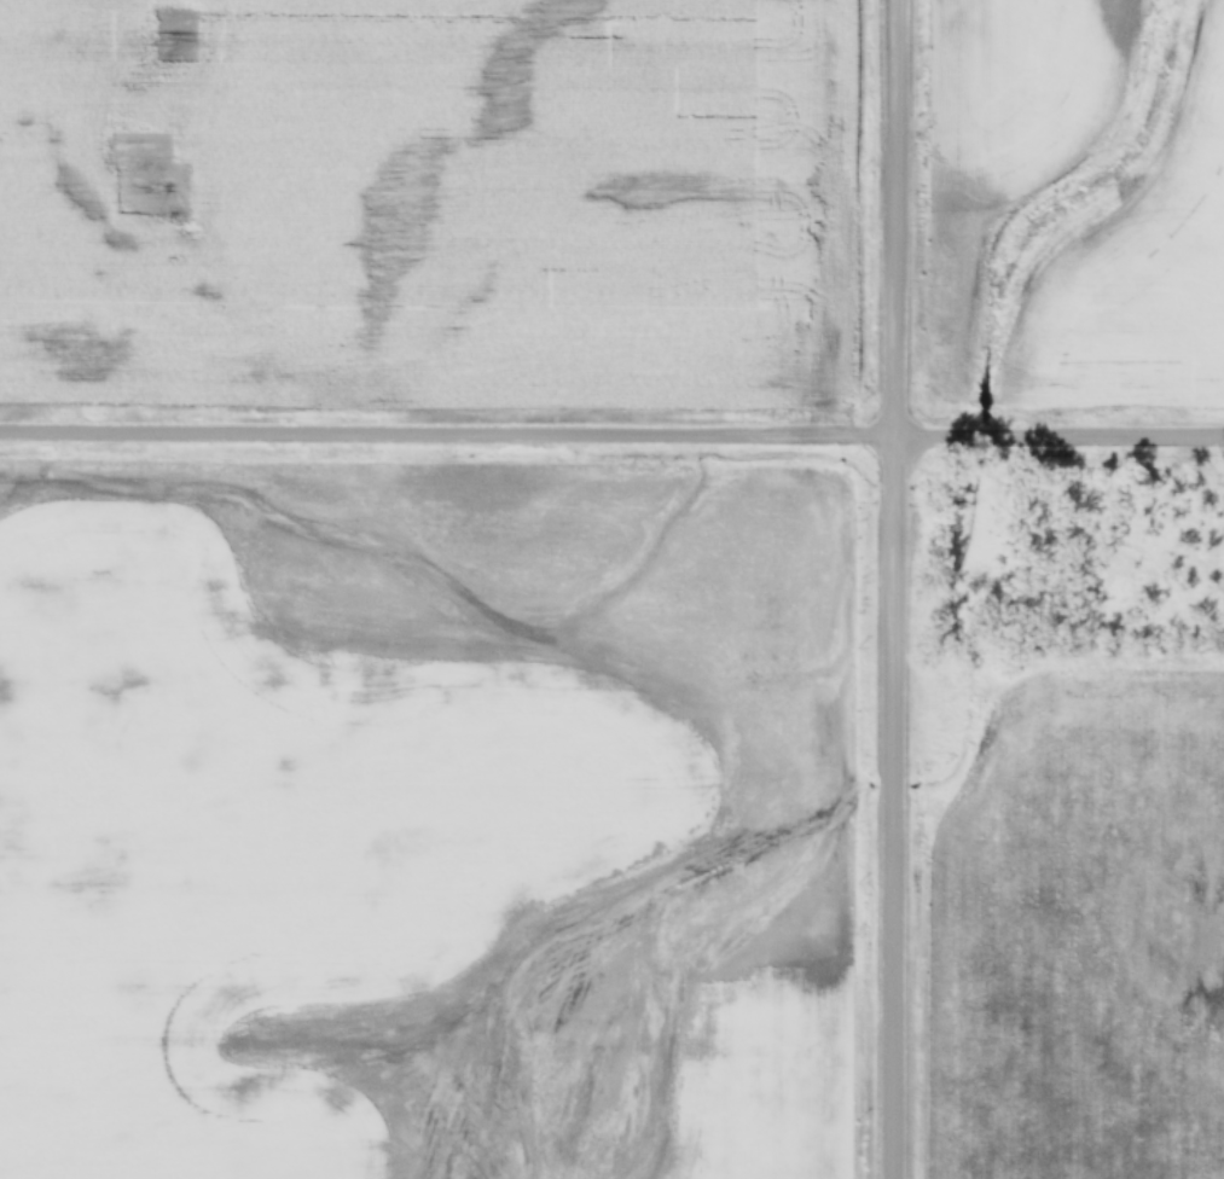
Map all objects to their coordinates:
road: (611, 430)
road: (895, 588)

